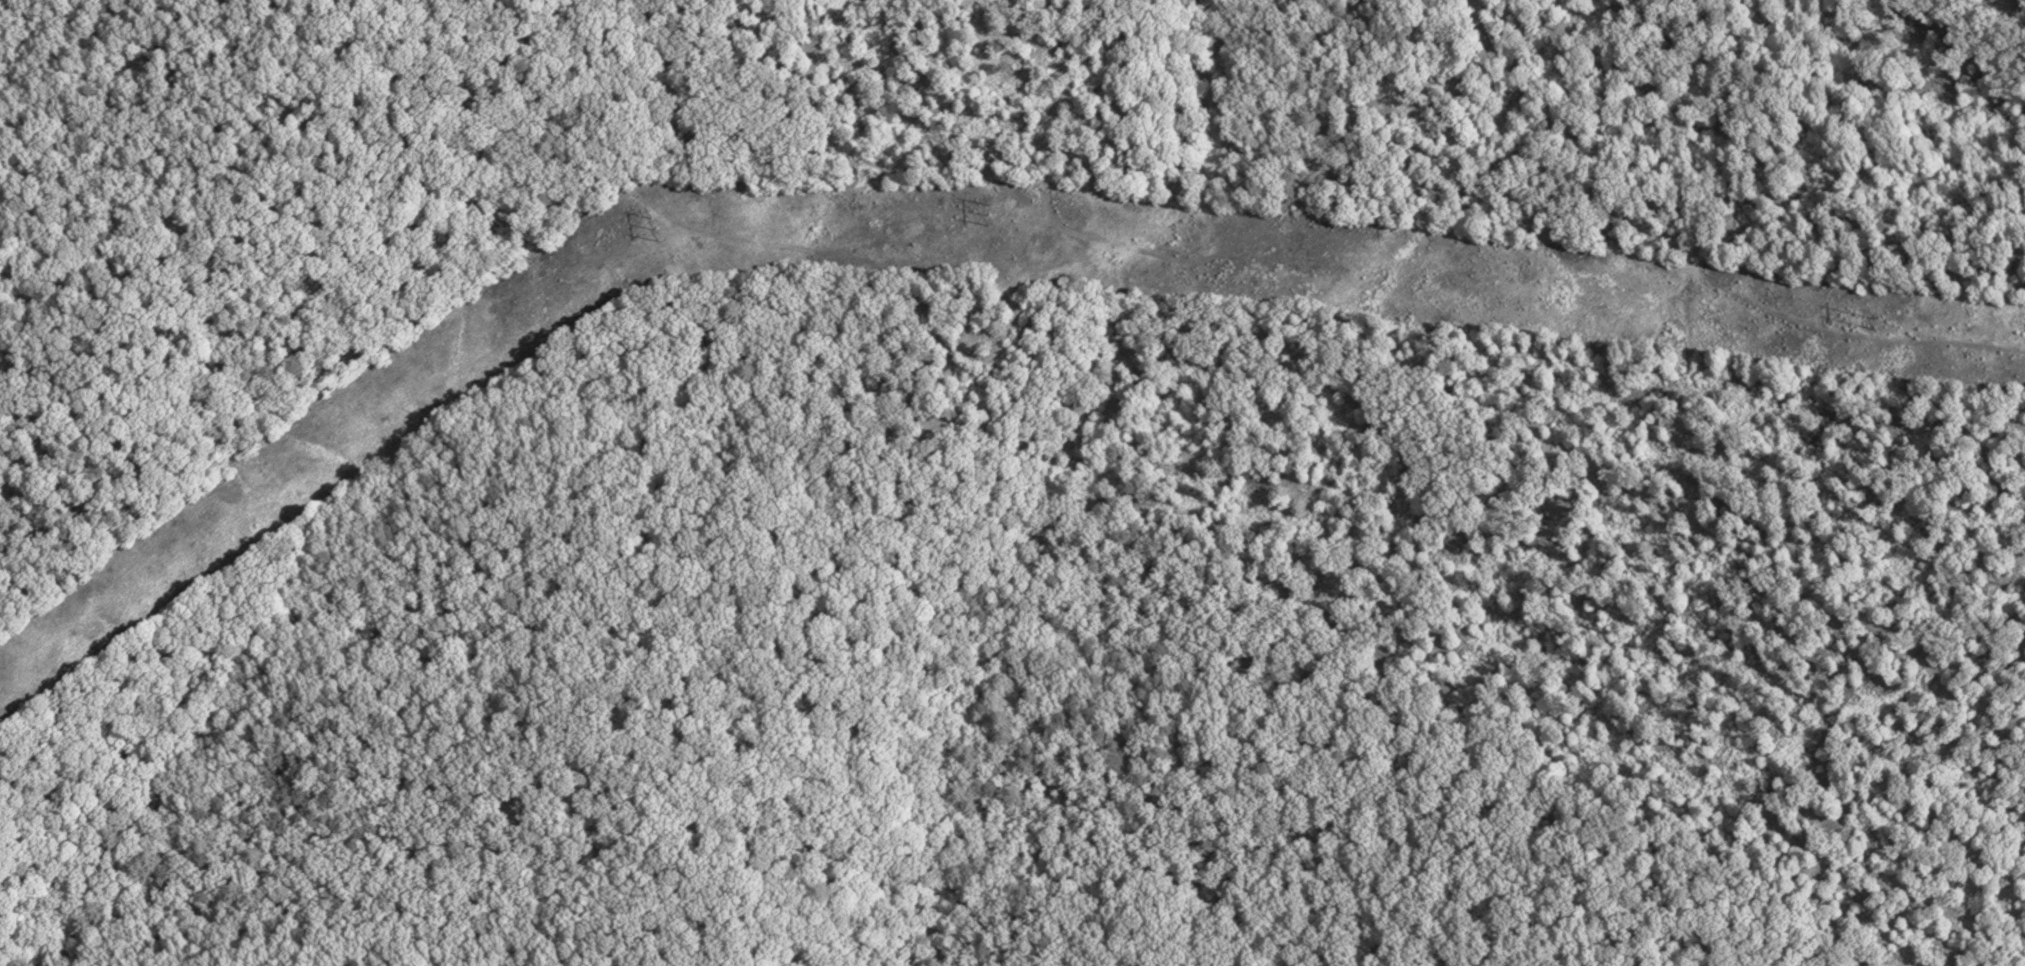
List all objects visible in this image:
power tower: (989, 216)
power tower: (656, 229)
power tower: (1874, 323)

